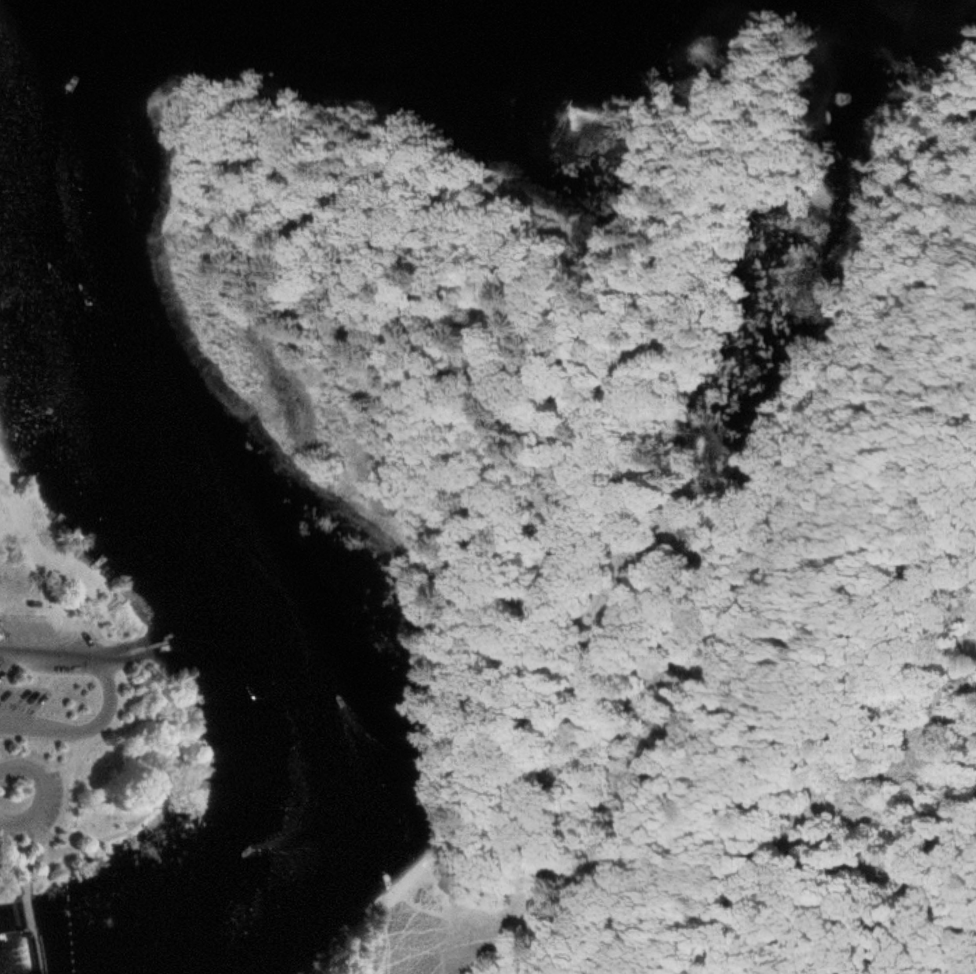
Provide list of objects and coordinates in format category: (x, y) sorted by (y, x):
park: (642, 490)
river: (200, 551)
road: (118, 674)
parking lot: (102, 676)
road: (172, 710)
park: (72, 716)
road: (89, 729)
road: (39, 792)
parking lot: (35, 806)
road: (27, 910)
dam: (19, 940)

